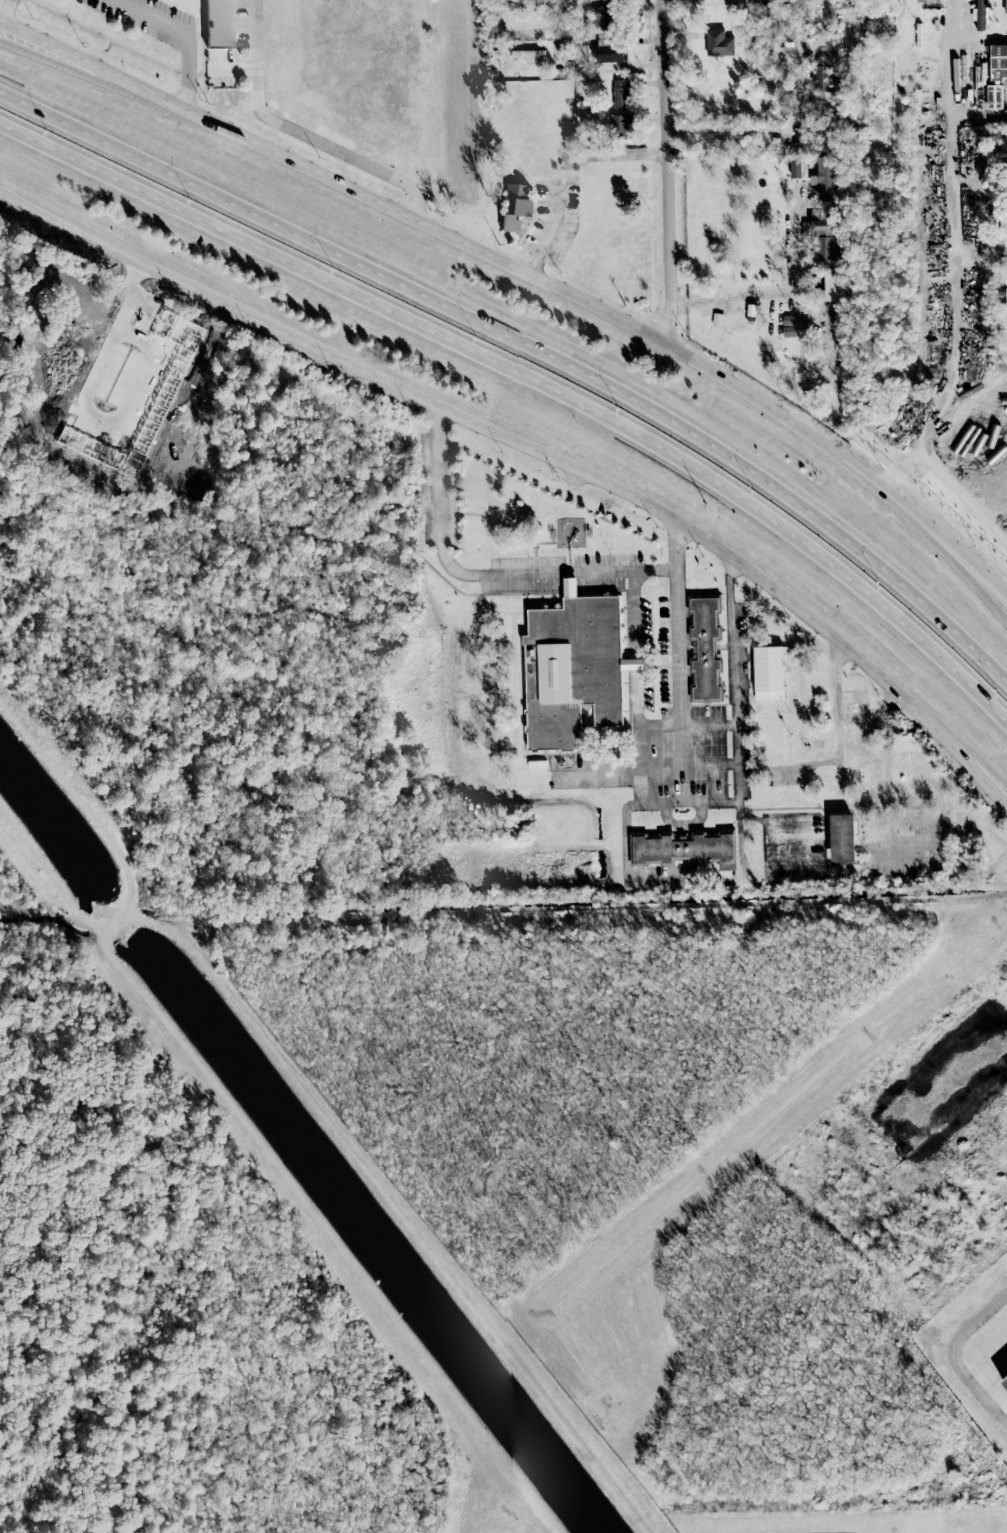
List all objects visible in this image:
building: (927, 1)
road: (3, 7)
building: (1005, 7)
building: (980, 13)
building: (605, 16)
building: (219, 23)
road: (188, 33)
building: (718, 43)
building: (607, 52)
building: (528, 53)
building: (998, 61)
road: (98, 67)
building: (822, 74)
road: (98, 76)
building: (621, 94)
building: (993, 96)
road: (979, 116)
building: (621, 126)
road: (757, 131)
road: (303, 132)
road: (570, 161)
building: (795, 168)
road: (666, 170)
building: (825, 177)
building: (514, 205)
road: (54, 211)
road: (54, 217)
building: (820, 241)
road: (505, 263)
road: (536, 264)
building: (835, 288)
road: (956, 292)
road: (732, 295)
road: (797, 308)
building: (788, 320)
road: (528, 348)
road: (532, 376)
building: (996, 454)
road: (592, 476)
road: (867, 481)
railway: (1006, 526)
road: (968, 570)
road: (481, 575)
road: (968, 579)
road: (633, 648)
building: (704, 648)
road: (681, 658)
building: (572, 668)
building: (768, 673)
road: (736, 689)
road: (660, 725)
road: (710, 725)
road: (954, 744)
road: (838, 751)
road: (643, 765)
building: (842, 837)
building: (685, 848)
road: (950, 1355)
building: (1005, 1382)

